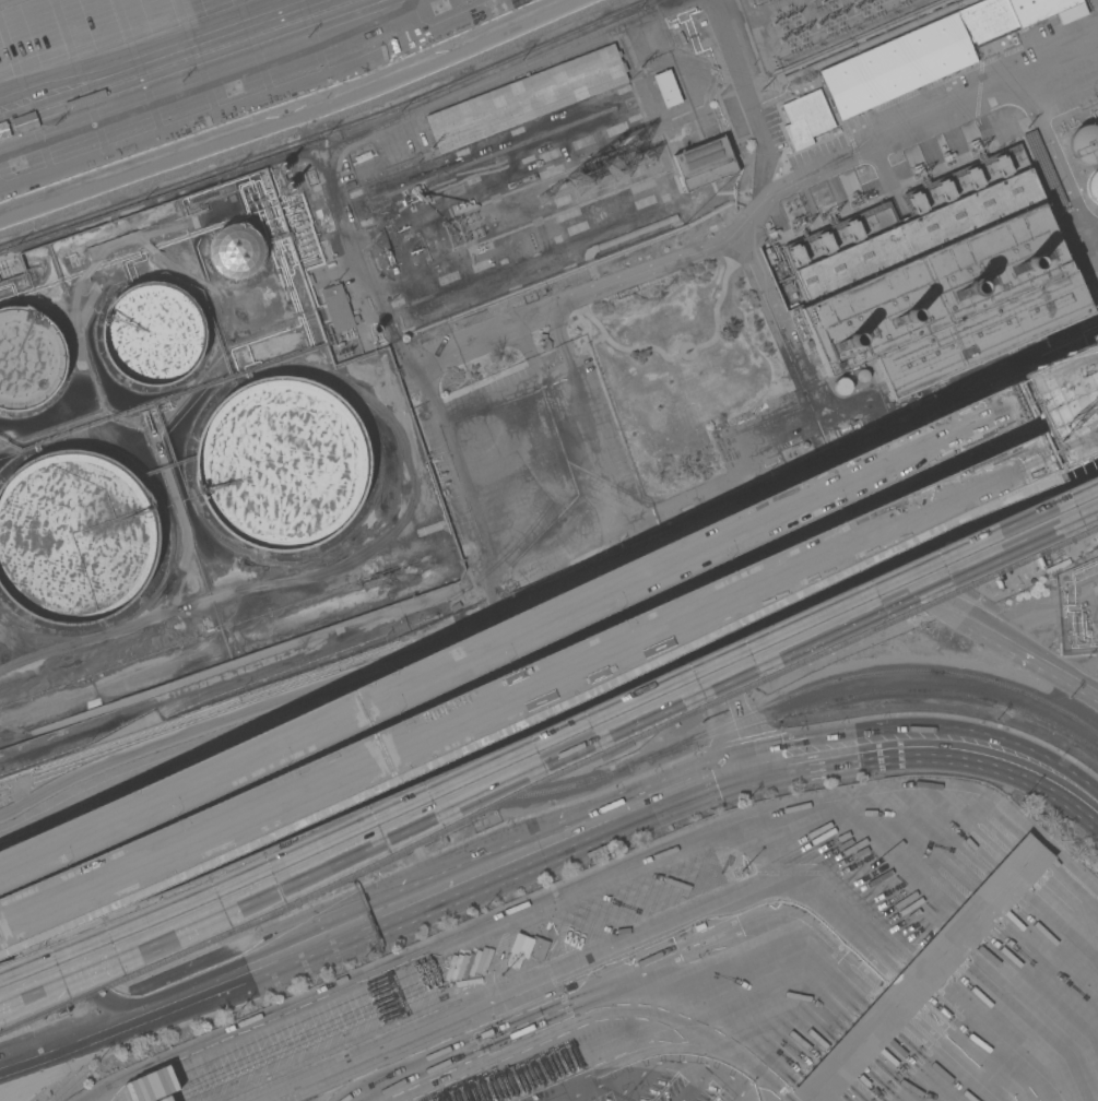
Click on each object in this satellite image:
power substation: (816, 25)
building: (931, 51)
building: (666, 88)
building: (527, 98)
building: (805, 119)
building: (1085, 144)
building: (705, 164)
building: (1042, 170)
building: (1093, 186)
power substation: (516, 208)
building: (236, 249)
storage tank: (236, 249)
chimney: (1007, 271)
building: (938, 276)
chimney: (951, 288)
building: (338, 308)
chimney: (892, 312)
power plant: (518, 328)
building: (152, 334)
storage tank: (152, 334)
chimney: (835, 334)
building: (544, 343)
building: (28, 358)
storage tank: (28, 358)
building: (862, 376)
building: (841, 387)
building: (281, 464)
storage tank: (281, 464)
building: (74, 537)
storage tank: (74, 537)
road: (851, 538)
road: (840, 572)
road: (550, 618)
railway: (870, 673)
railway: (874, 694)
road: (1011, 759)
road: (304, 791)
railway: (322, 801)
road: (450, 879)
building: (526, 949)
building: (923, 972)

